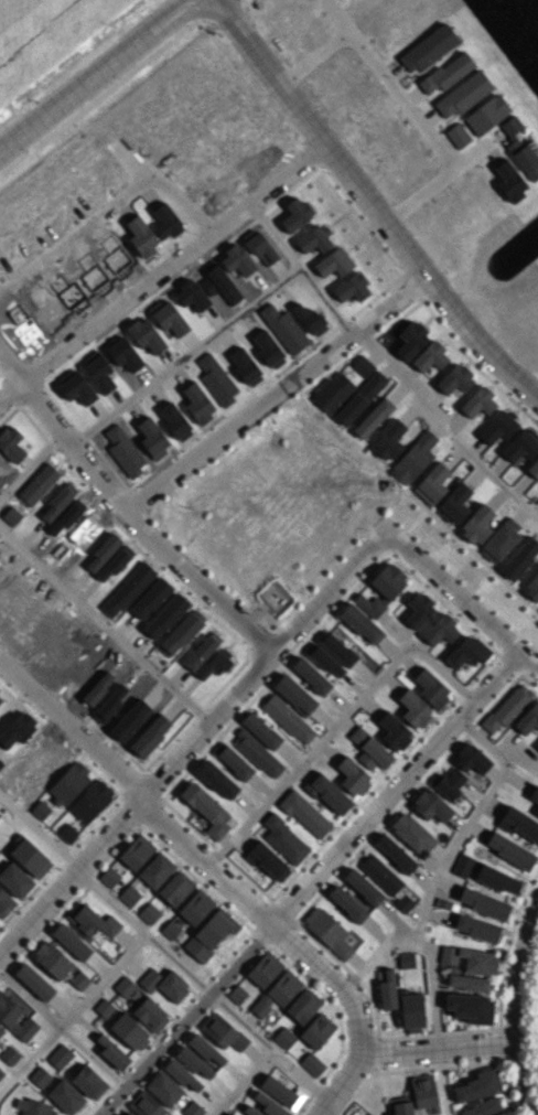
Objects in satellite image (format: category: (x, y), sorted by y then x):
road: (337, 14)
road: (313, 56)
building: (446, 72)
road: (96, 74)
road: (108, 88)
building: (463, 94)
road: (401, 98)
building: (486, 114)
building: (510, 125)
building: (456, 135)
road: (473, 153)
building: (524, 157)
road: (136, 163)
building: (509, 180)
road: (273, 193)
road: (419, 193)
road: (369, 203)
road: (185, 207)
building: (165, 221)
building: (140, 236)
road: (76, 238)
road: (302, 275)
building: (351, 287)
road: (396, 308)
road: (120, 310)
building: (282, 328)
building: (410, 340)
building: (267, 349)
road: (183, 356)
building: (430, 356)
building: (362, 365)
road: (11, 368)
road: (402, 374)
building: (454, 379)
building: (372, 384)
building: (331, 390)
road: (11, 396)
building: (478, 401)
building: (349, 408)
road: (41, 409)
building: (373, 418)
road: (243, 425)
building: (497, 427)
building: (388, 440)
building: (520, 444)
building: (412, 458)
road: (29, 465)
road: (484, 468)
building: (534, 469)
road: (92, 475)
building: (431, 483)
building: (454, 503)
building: (476, 524)
building: (499, 540)
building: (519, 558)
building: (122, 586)
road: (198, 586)
building: (531, 586)
building: (381, 589)
road: (454, 591)
road: (331, 592)
building: (150, 598)
building: (418, 610)
building: (166, 613)
building: (361, 623)
road: (105, 625)
building: (337, 648)
building: (466, 652)
road: (529, 662)
building: (430, 687)
building: (293, 694)
road: (13, 704)
building: (413, 708)
building: (507, 708)
building: (528, 718)
building: (288, 719)
road: (335, 726)
road: (204, 728)
building: (260, 730)
road: (69, 731)
building: (392, 731)
building: (537, 747)
building: (369, 749)
building: (257, 753)
building: (471, 759)
building: (233, 760)
building: (352, 775)
building: (216, 779)
building: (450, 782)
road: (394, 785)
building: (327, 793)
building: (534, 794)
building: (90, 800)
building: (430, 805)
building: (205, 808)
building: (537, 812)
building: (304, 813)
road: (470, 821)
building: (518, 823)
road: (40, 832)
building: (67, 833)
building: (411, 833)
building: (283, 839)
building: (509, 849)
building: (136, 851)
building: (395, 853)
building: (267, 861)
road: (206, 864)
building: (461, 864)
building: (155, 869)
building: (380, 875)
building: (109, 877)
building: (497, 879)
road: (68, 880)
building: (362, 886)
building: (175, 888)
building: (129, 894)
road: (111, 901)
building: (403, 902)
building: (483, 902)
building: (346, 903)
building: (442, 903)
building: (195, 907)
building: (149, 913)
building: (90, 921)
building: (475, 928)
building: (170, 929)
building: (327, 931)
building: (209, 933)
building: (71, 941)
road: (423, 945)
road: (131, 946)
building: (52, 959)
building: (406, 959)
building: (470, 959)
building: (263, 969)
building: (79, 980)
road: (333, 980)
building: (33, 982)
building: (466, 983)
building: (163, 984)
building: (125, 987)
building: (387, 989)
building: (277, 991)
building: (237, 994)
building: (303, 1005)
building: (103, 1007)
building: (470, 1007)
road: (514, 1007)
building: (411, 1012)
building: (150, 1015)
road: (190, 1019)
road: (241, 1022)
building: (316, 1030)
road: (63, 1031)
building: (128, 1031)
building: (222, 1031)
building: (283, 1037)
road: (438, 1047)
building: (204, 1048)
building: (111, 1052)
road: (268, 1053)
building: (193, 1062)
building: (311, 1063)
building: (181, 1074)
road: (443, 1081)
road: (338, 1083)
building: (477, 1085)
building: (163, 1087)
building: (280, 1091)
building: (423, 1092)
building: (144, 1104)
building: (268, 1104)
building: (399, 1105)
building: (481, 1107)
building: (192, 1108)
building: (250, 1111)
building: (125, 1112)
road: (324, 1112)
building: (504, 1113)
building: (230, 1114)

